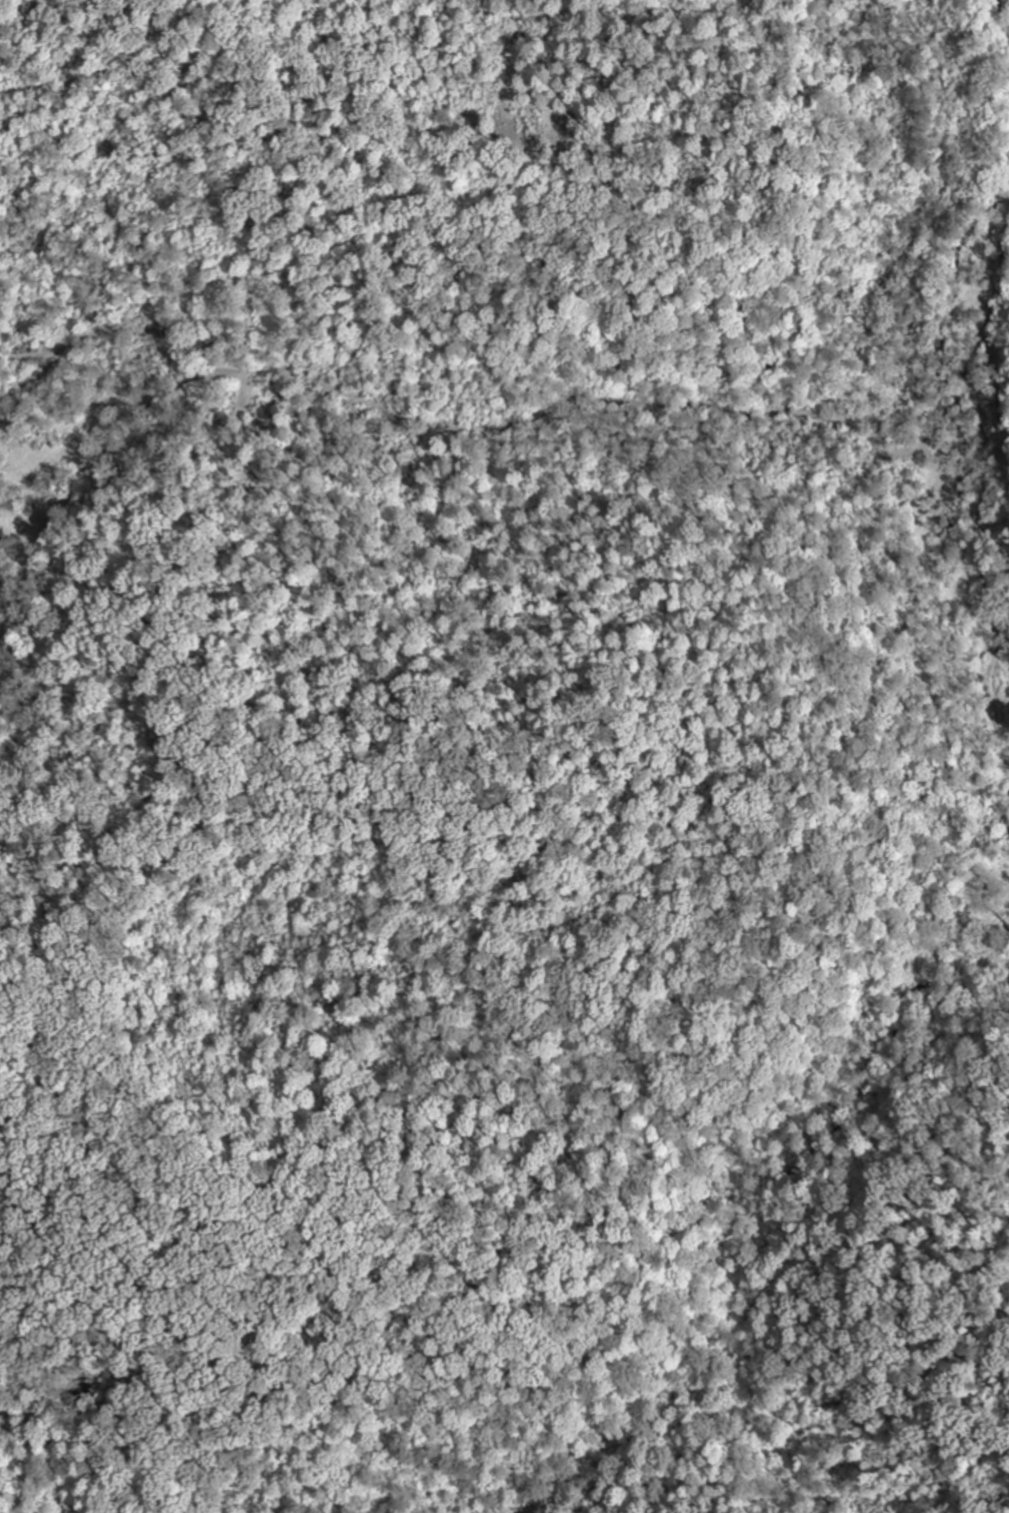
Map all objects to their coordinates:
road: (990, 111)
road: (996, 341)
road: (777, 1242)

